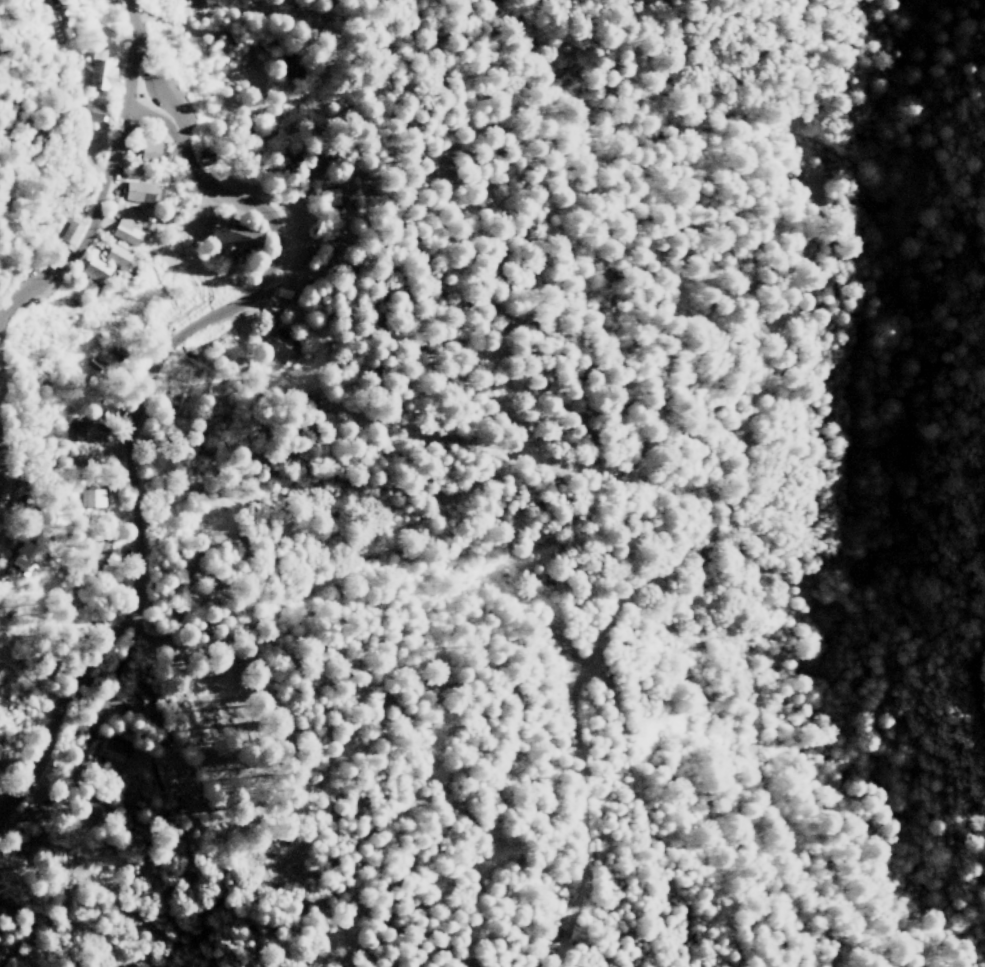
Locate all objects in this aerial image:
road: (131, 54)
building: (100, 67)
road: (162, 89)
building: (93, 112)
building: (151, 150)
building: (141, 191)
road: (91, 228)
building: (72, 231)
building: (128, 231)
building: (237, 235)
building: (117, 255)
building: (96, 270)
building: (284, 346)
building: (96, 363)
road: (139, 419)
building: (87, 431)
building: (93, 497)
building: (27, 557)
road: (979, 682)
park: (267, 749)
building: (114, 750)
building: (532, 965)

